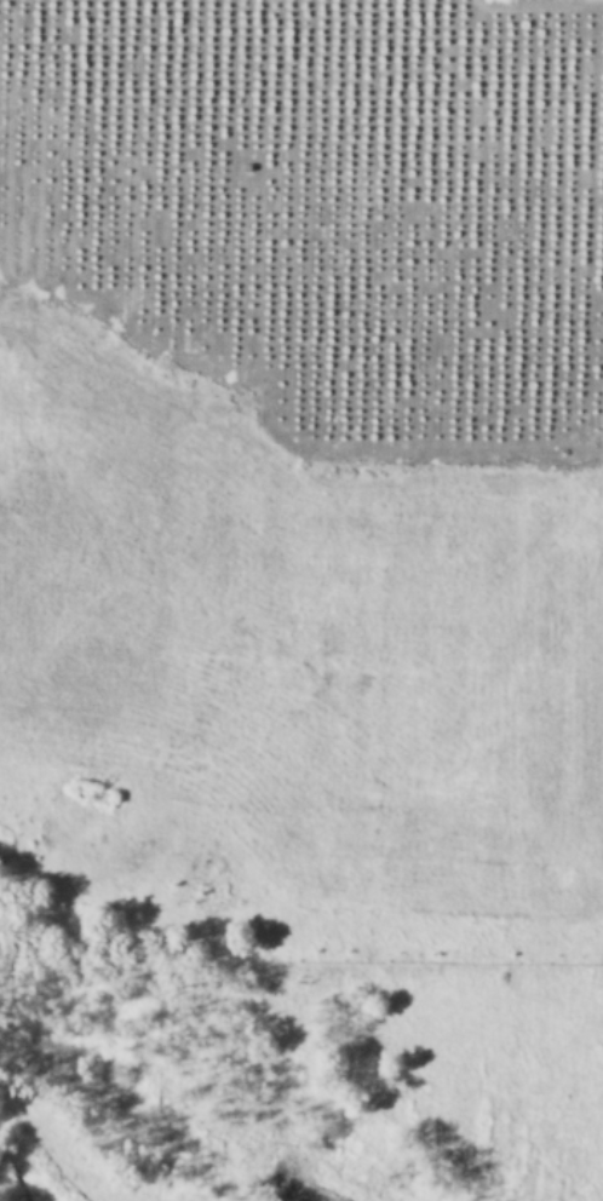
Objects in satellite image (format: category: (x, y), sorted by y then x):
crop: (301, 600)

